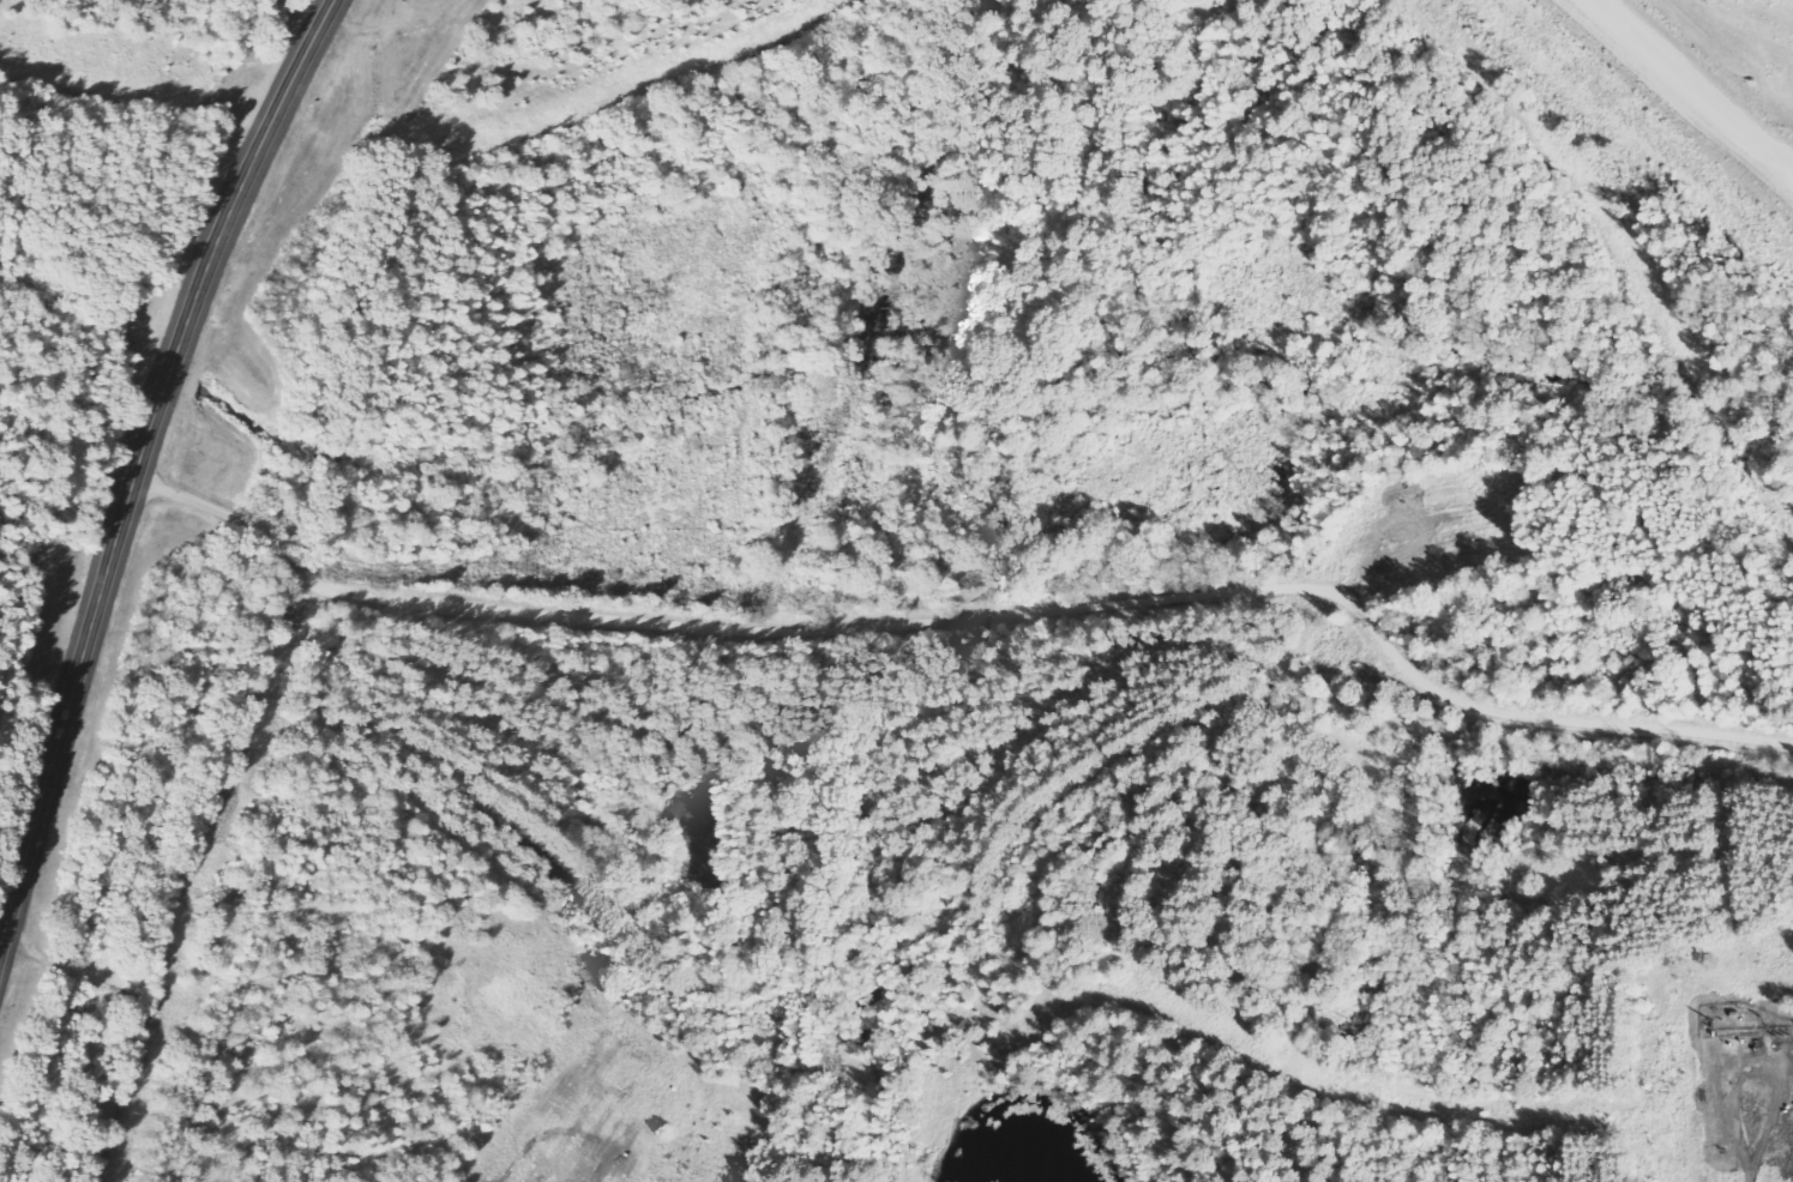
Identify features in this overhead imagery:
road: (1689, 92)
road: (139, 465)

